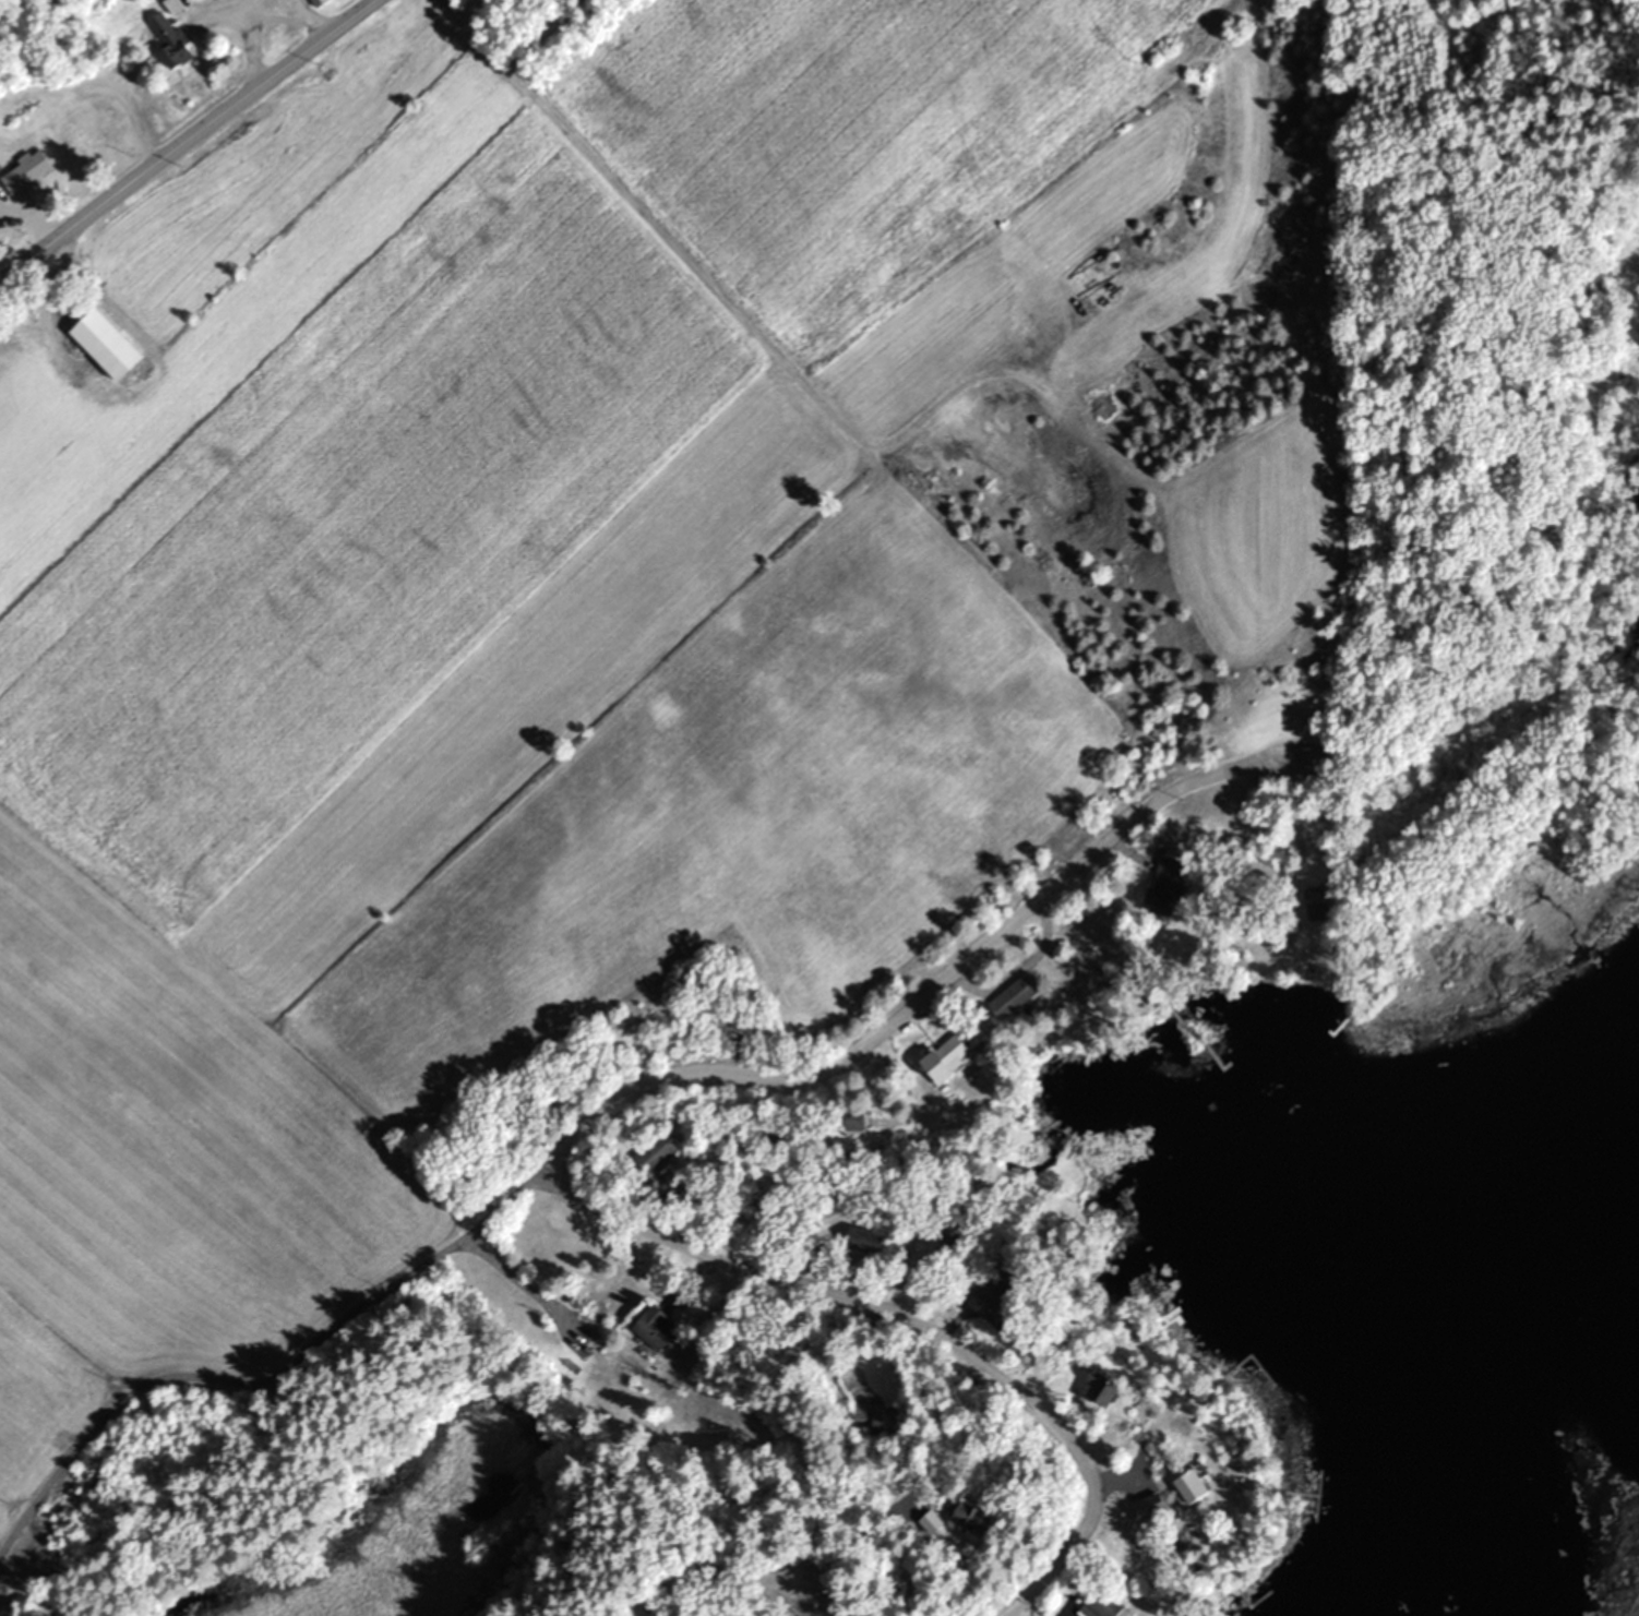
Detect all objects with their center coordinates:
building: (315, 2)
building: (168, 40)
road: (184, 137)
building: (27, 168)
road: (284, 278)
building: (104, 345)
building: (1163, 885)
building: (1314, 902)
building: (1013, 996)
road: (1085, 1028)
building: (944, 1058)
building: (851, 1121)
building: (661, 1154)
building: (861, 1241)
building: (996, 1296)
building: (651, 1328)
road: (285, 1380)
building: (870, 1420)
building: (1189, 1486)
building: (1147, 1506)
building: (971, 1516)
road: (1081, 1568)
building: (1099, 1604)
road: (759, 1608)

